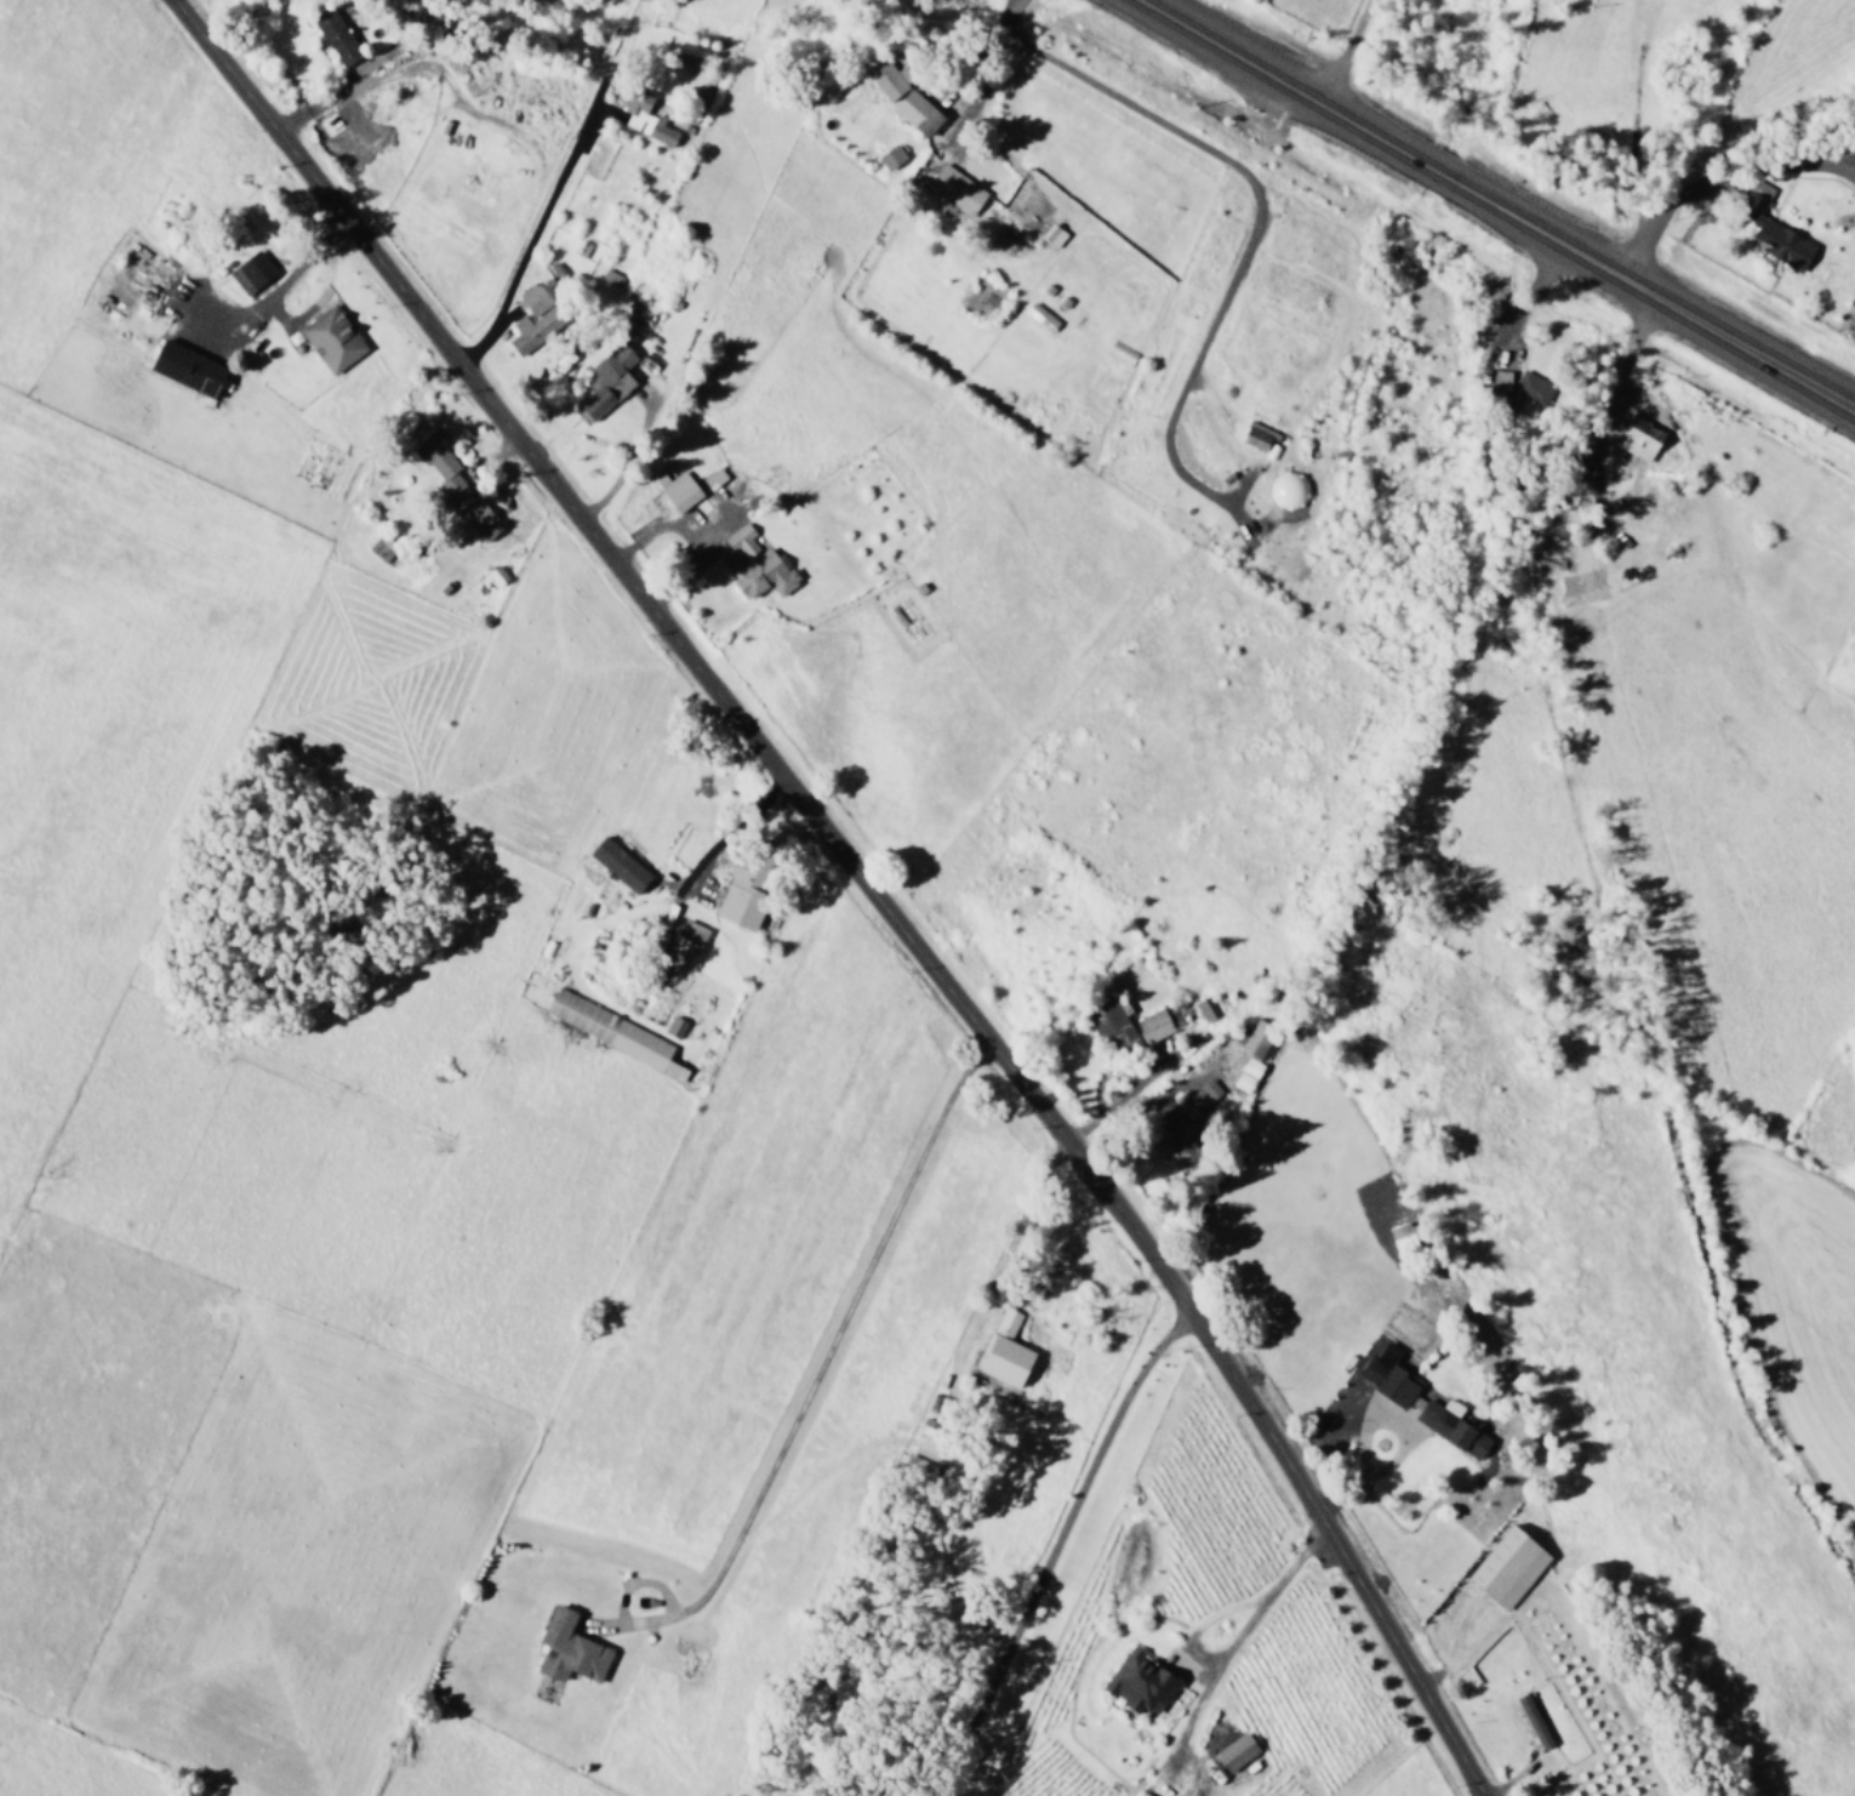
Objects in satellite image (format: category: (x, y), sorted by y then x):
building: (333, 36)
building: (886, 78)
building: (914, 112)
building: (641, 116)
building: (887, 156)
building: (953, 192)
road: (1494, 206)
road: (1250, 215)
building: (1771, 234)
building: (1050, 235)
building: (249, 270)
building: (1038, 317)
building: (531, 320)
building: (329, 338)
building: (184, 367)
building: (606, 380)
building: (1499, 381)
building: (1525, 389)
building: (1255, 437)
building: (1637, 438)
building: (439, 466)
building: (677, 491)
building: (475, 518)
building: (738, 540)
building: (761, 577)
building: (616, 863)
road: (857, 876)
building: (743, 884)
building: (681, 942)
building: (1204, 1007)
building: (1111, 1022)
building: (1151, 1025)
building: (672, 1027)
building: (609, 1031)
building: (1254, 1038)
building: (1244, 1074)
building: (1172, 1134)
building: (1398, 1236)
building: (1004, 1322)
building: (1003, 1361)
building: (1387, 1375)
building: (1449, 1426)
building: (1505, 1567)
building: (566, 1649)
building: (1137, 1682)
building: (1530, 1720)
building: (1233, 1751)
building: (1140, 1794)

